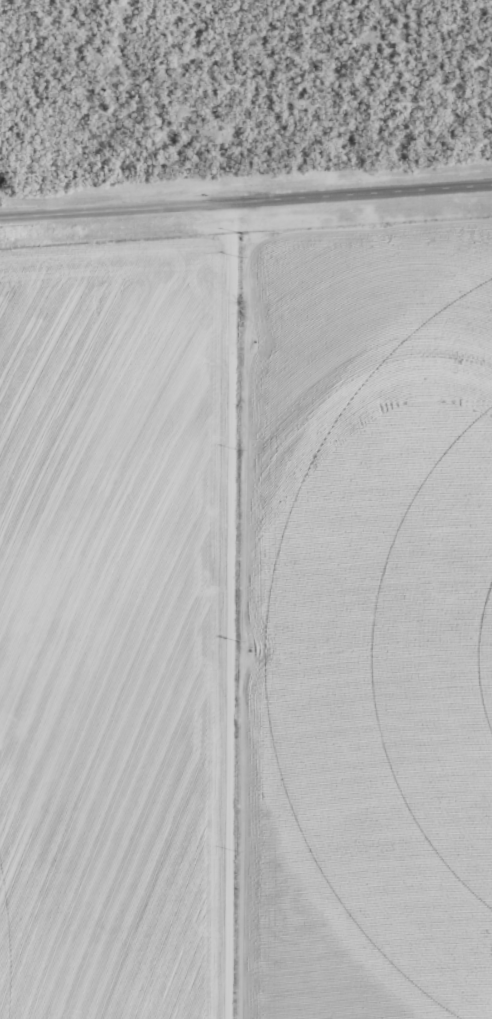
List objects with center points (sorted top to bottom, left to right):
railway: (246, 179)
road: (246, 206)
road: (224, 613)

